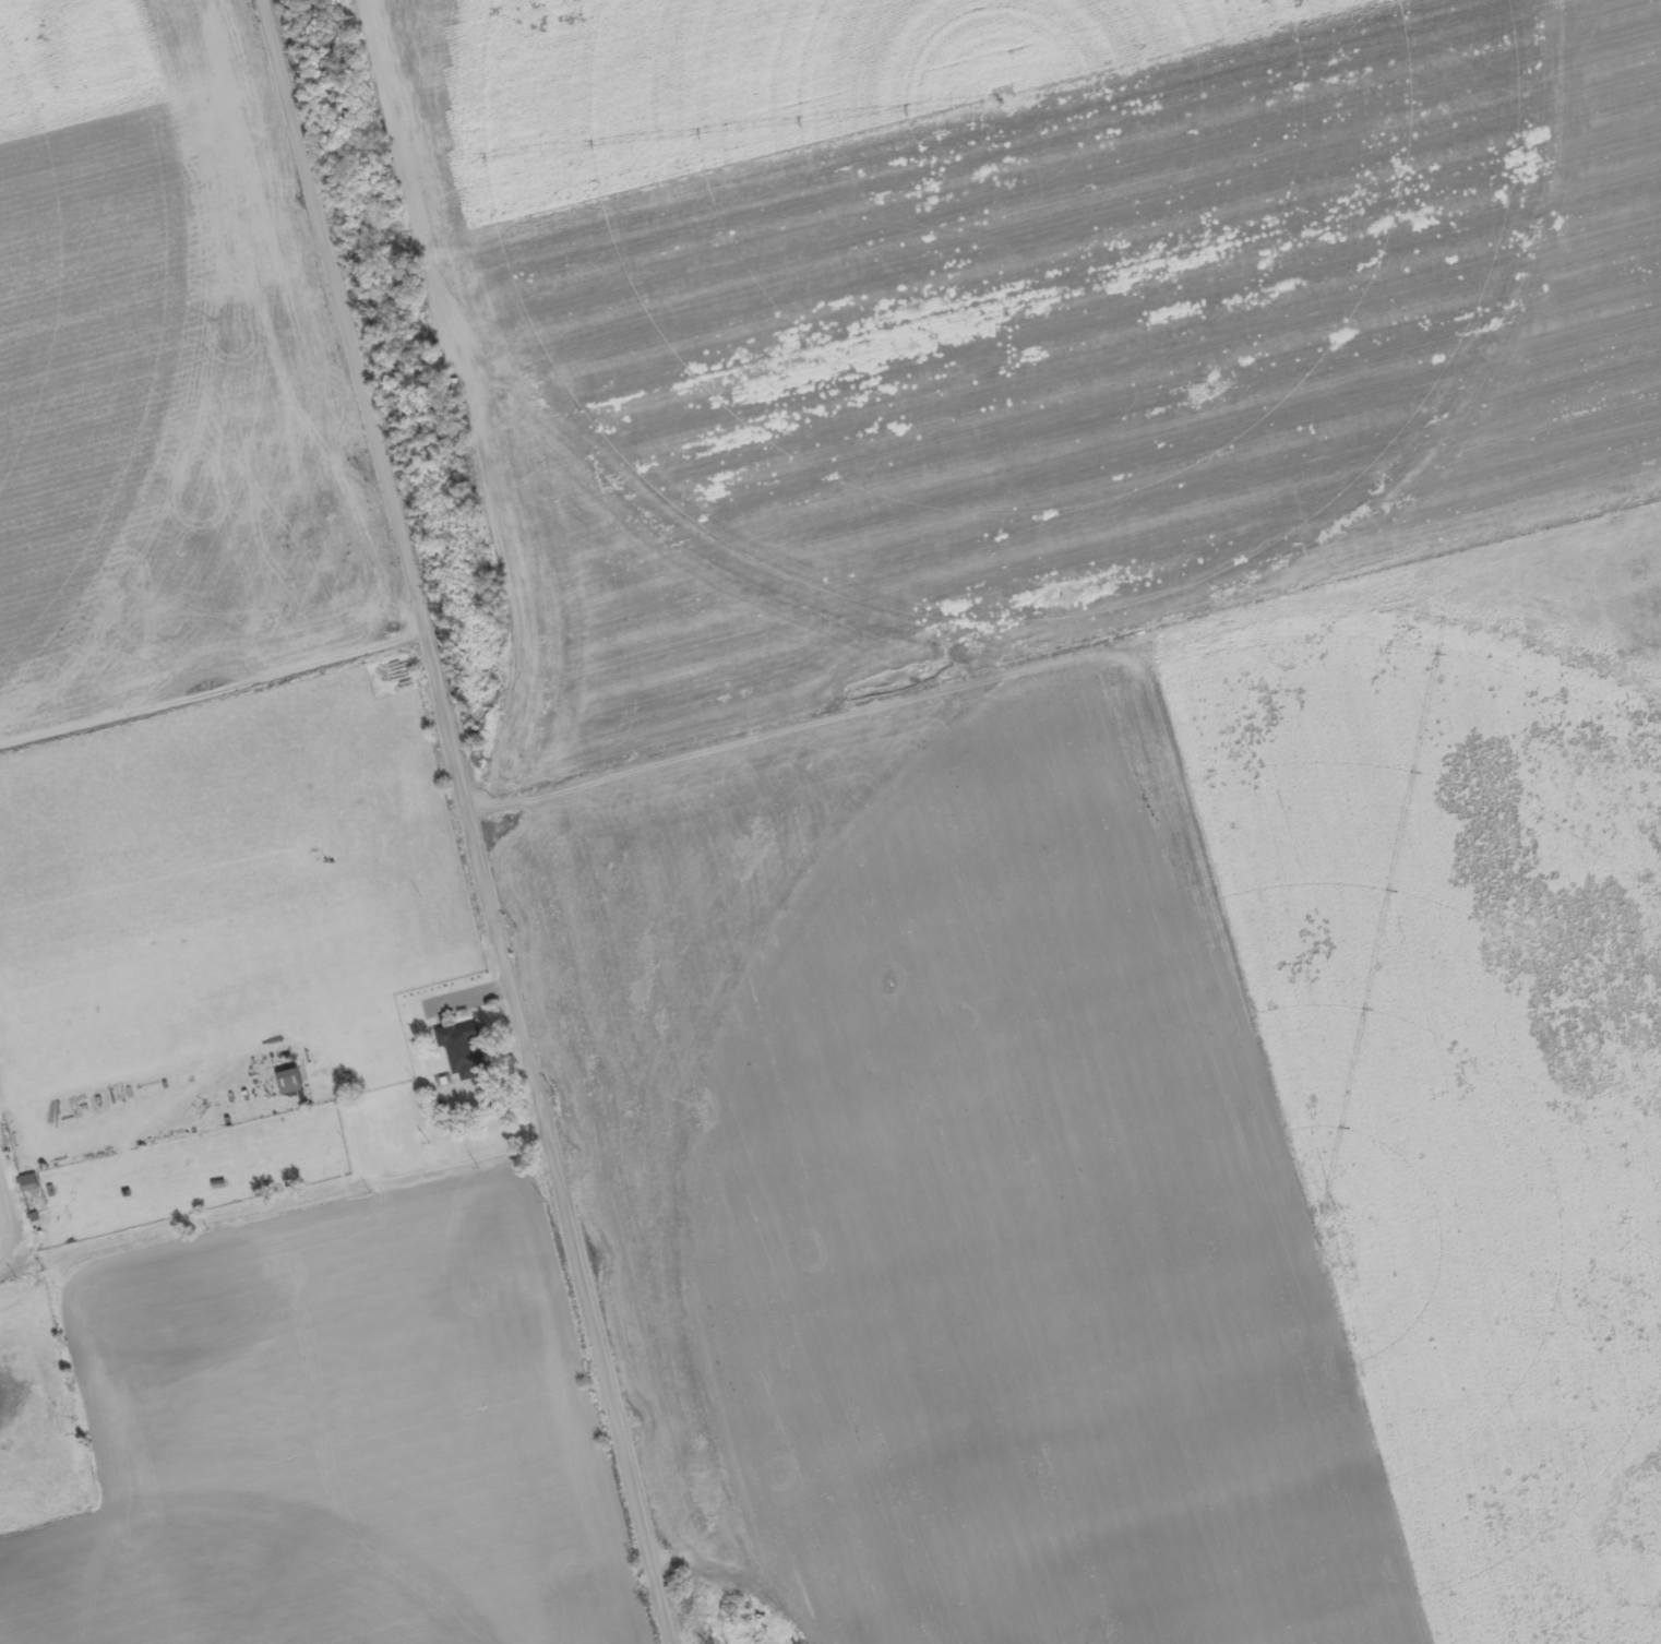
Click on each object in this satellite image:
road: (466, 821)
building: (467, 1050)
building: (296, 1083)
building: (33, 1182)
road: (271, 1183)

